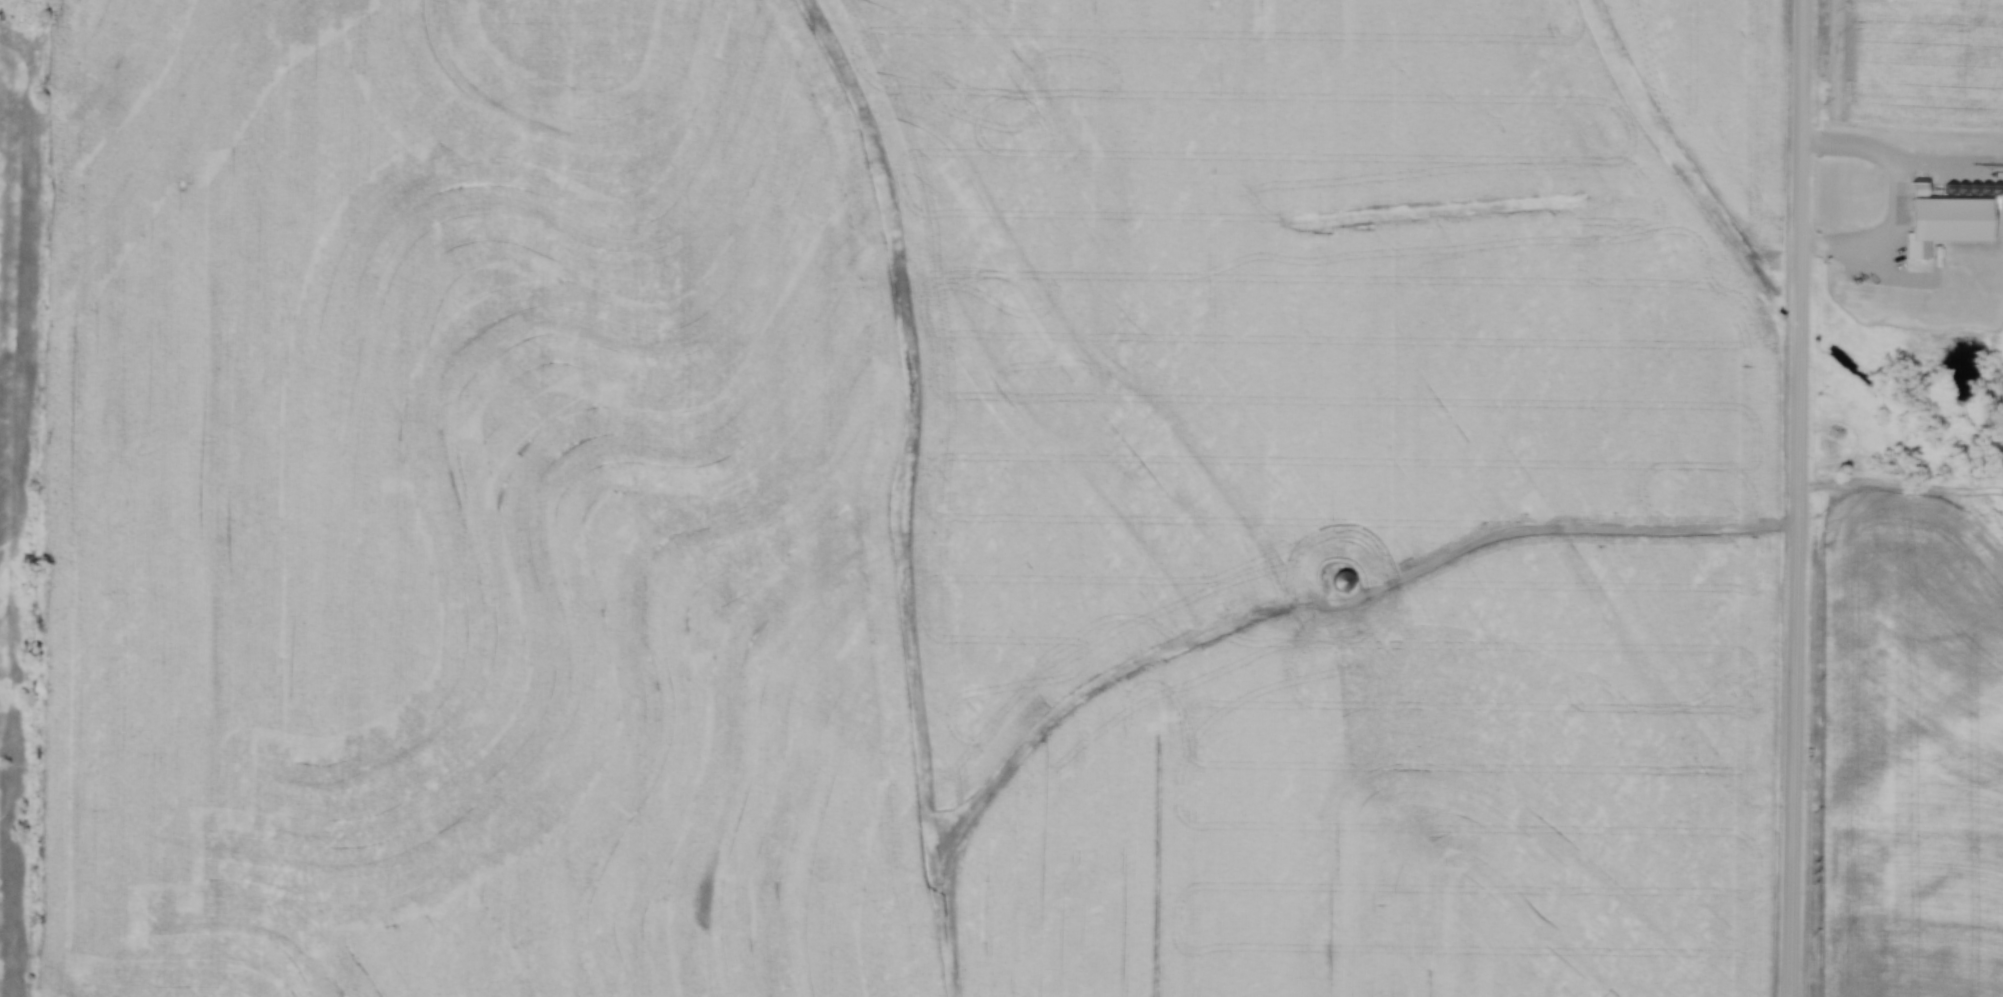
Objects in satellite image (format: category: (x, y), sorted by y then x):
road: (1904, 200)
road: (1801, 498)
building: (1349, 578)

